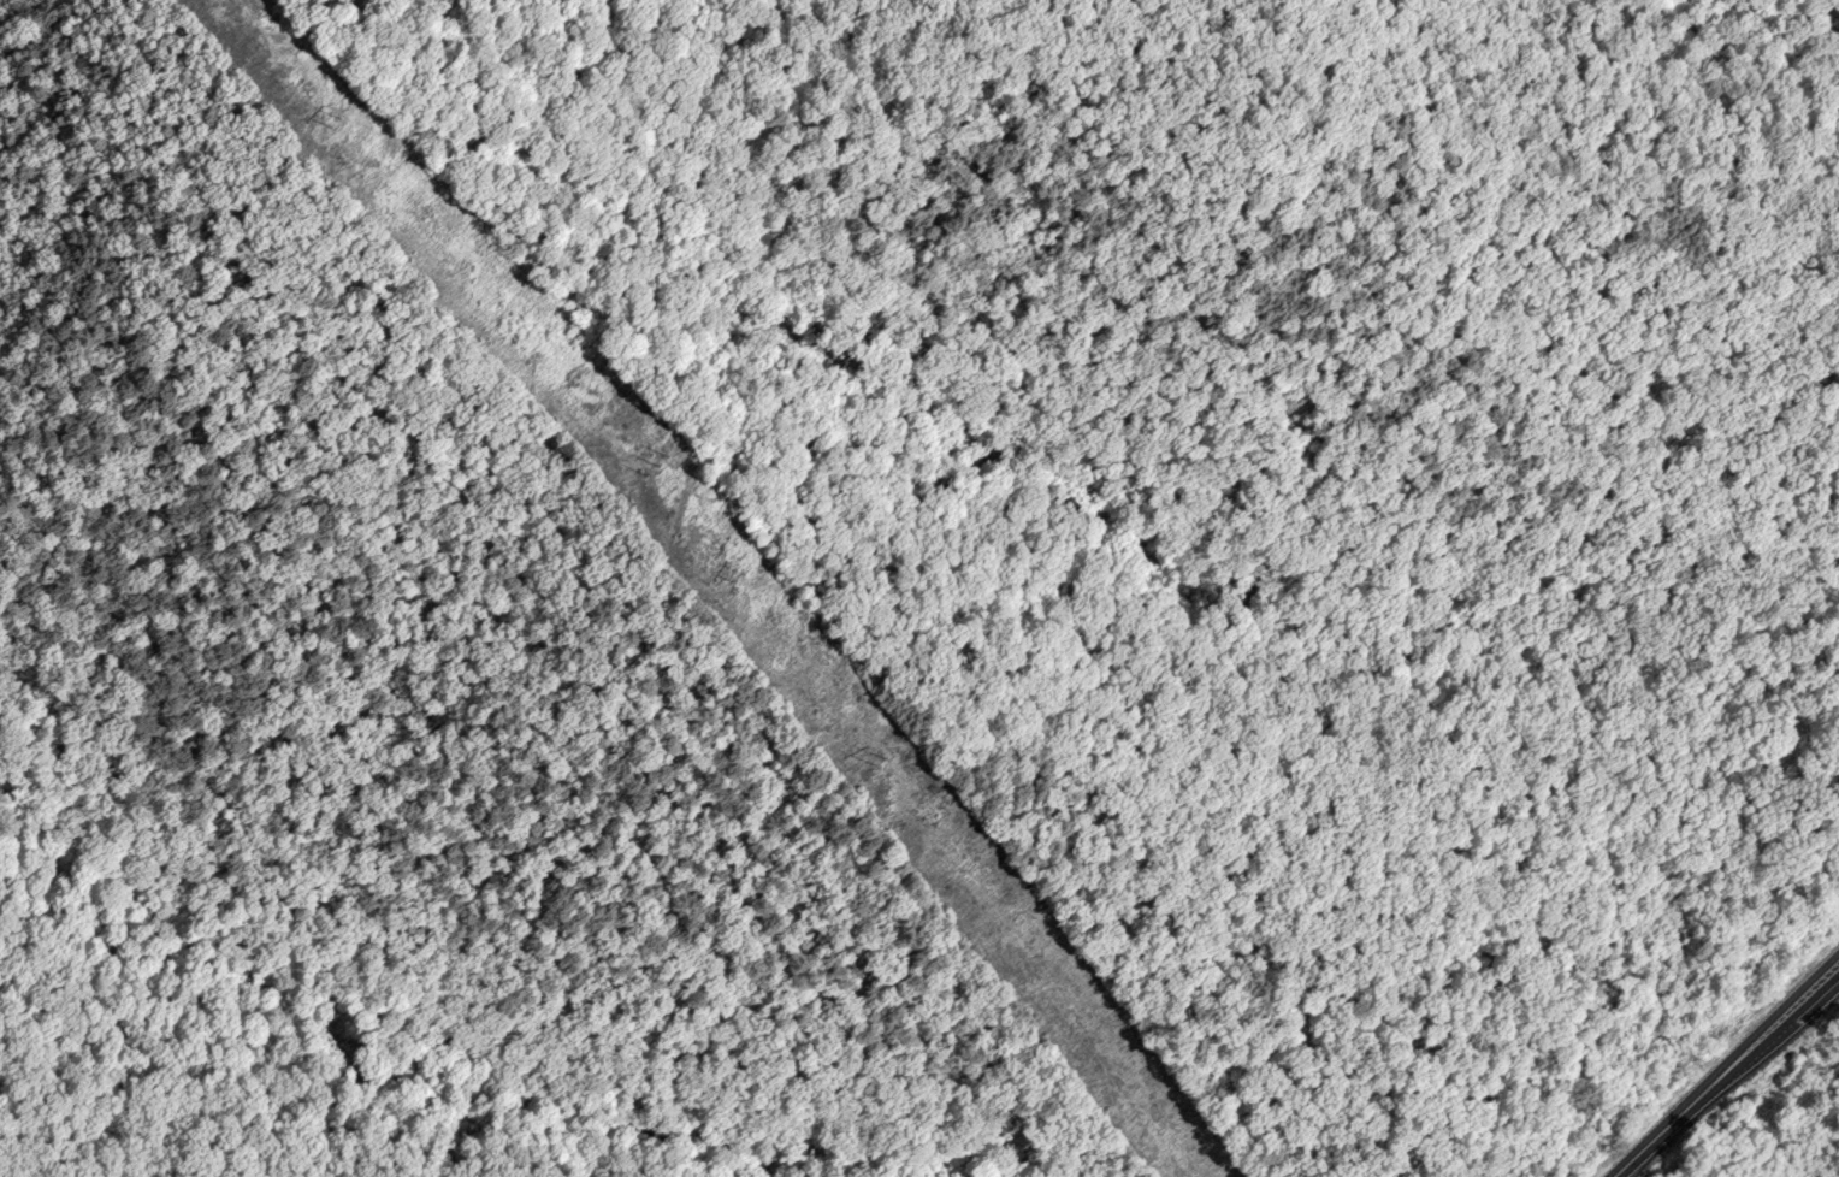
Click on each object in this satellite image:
power tower: (338, 125)
power tower: (660, 471)
power tower: (740, 579)
power tower: (883, 767)
road: (1723, 1071)

